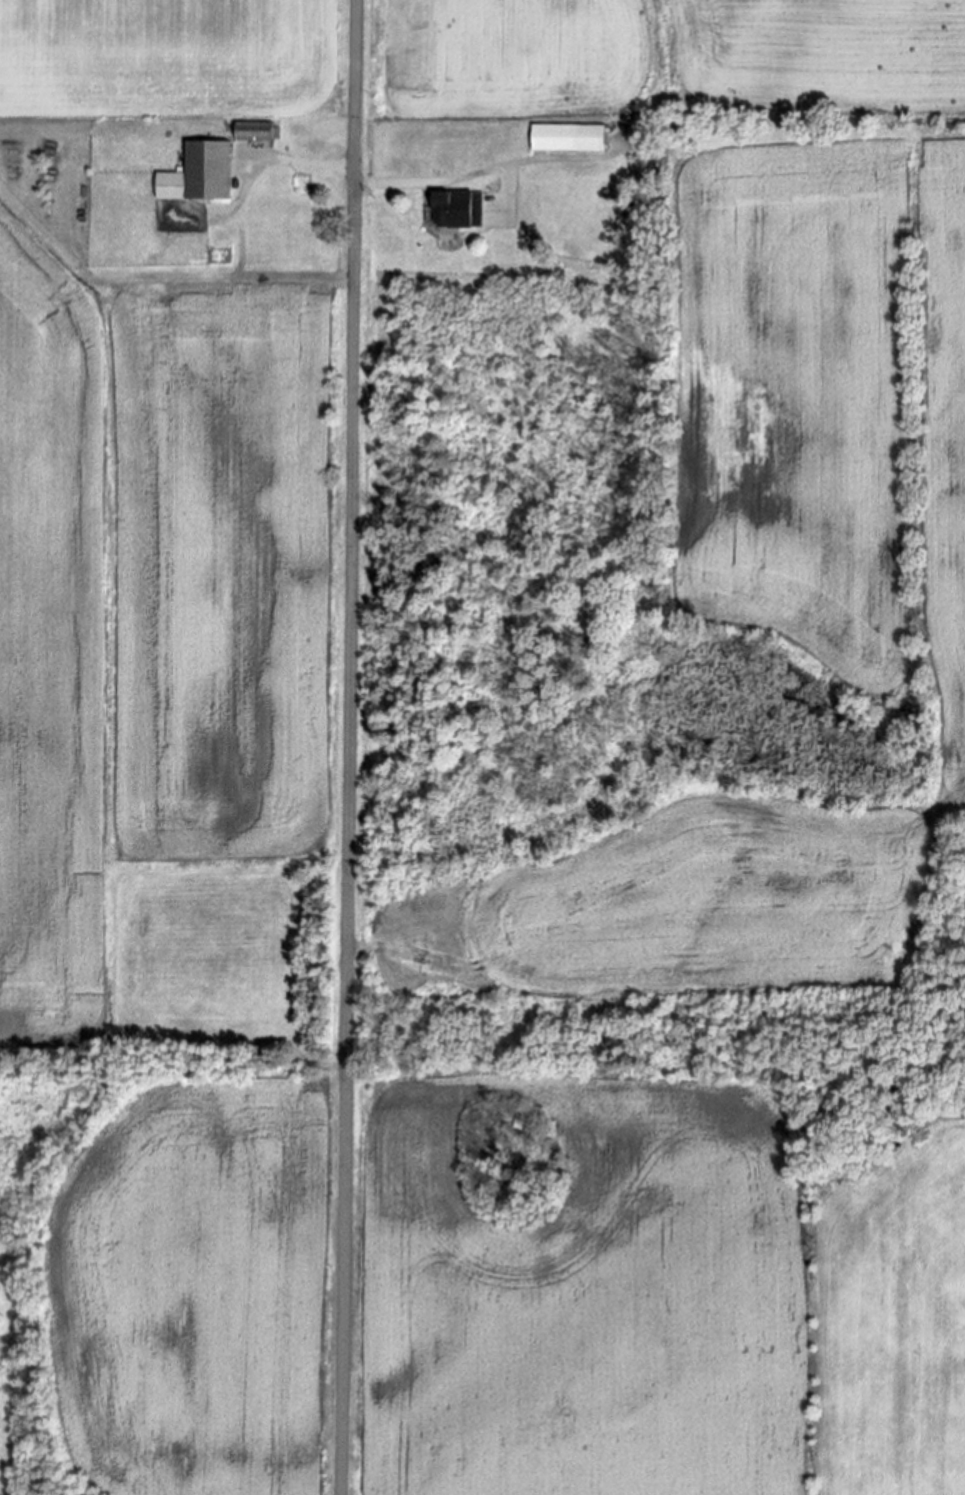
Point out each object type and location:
building: (252, 132)
building: (566, 139)
road: (309, 165)
road: (476, 174)
building: (197, 176)
building: (442, 211)
road: (346, 747)

